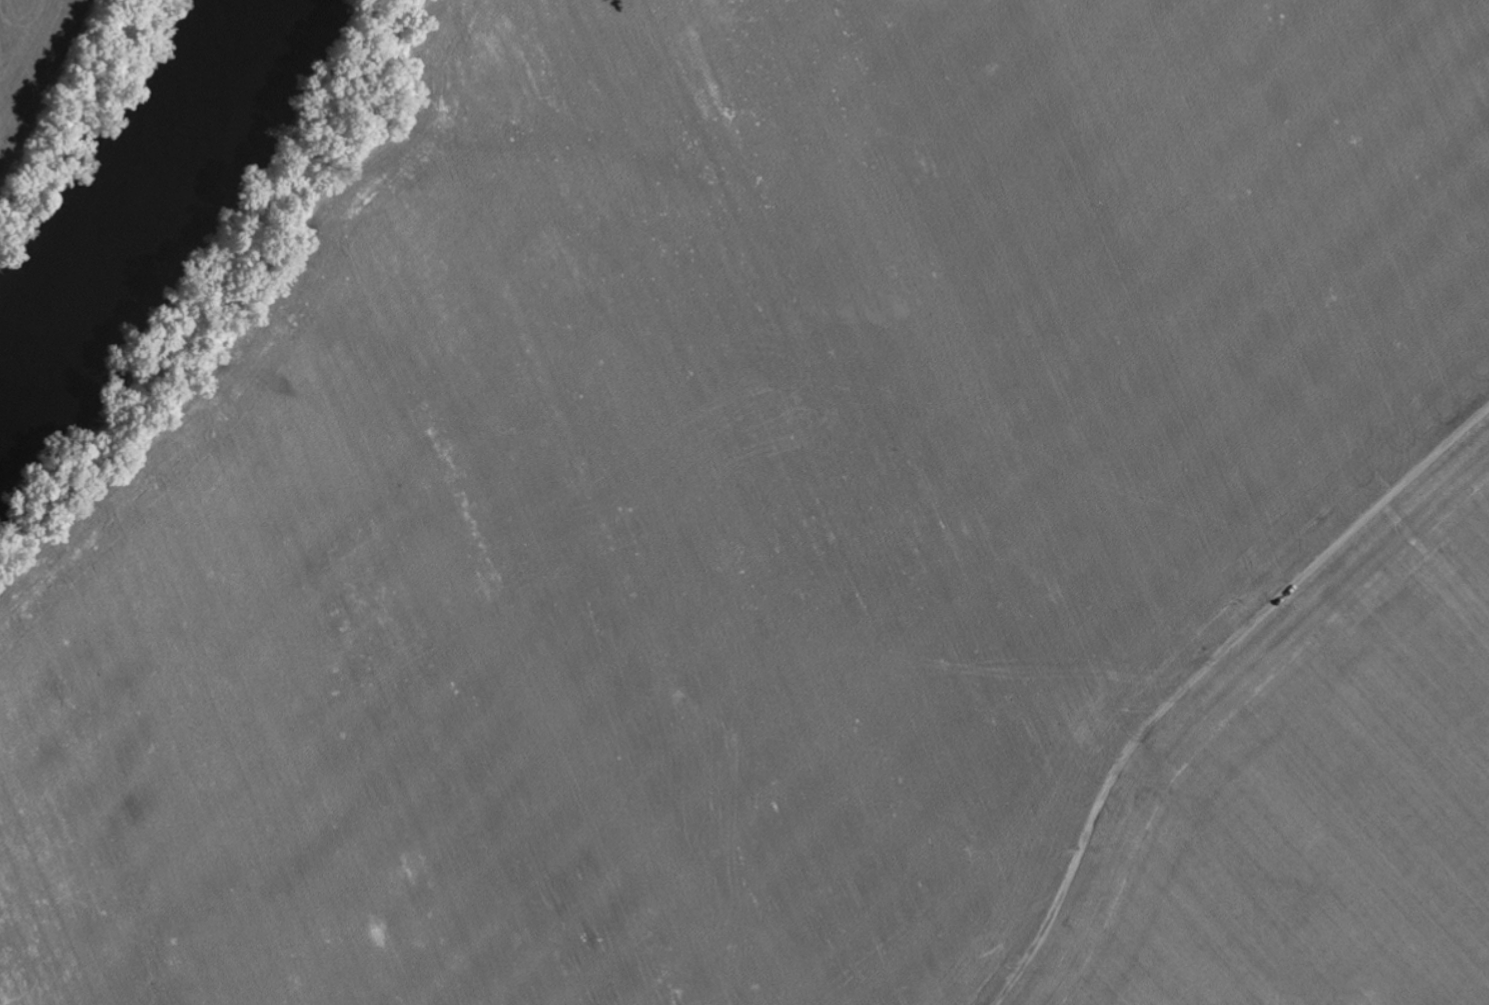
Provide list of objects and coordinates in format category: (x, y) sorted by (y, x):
river: (124, 198)
road: (1199, 672)

